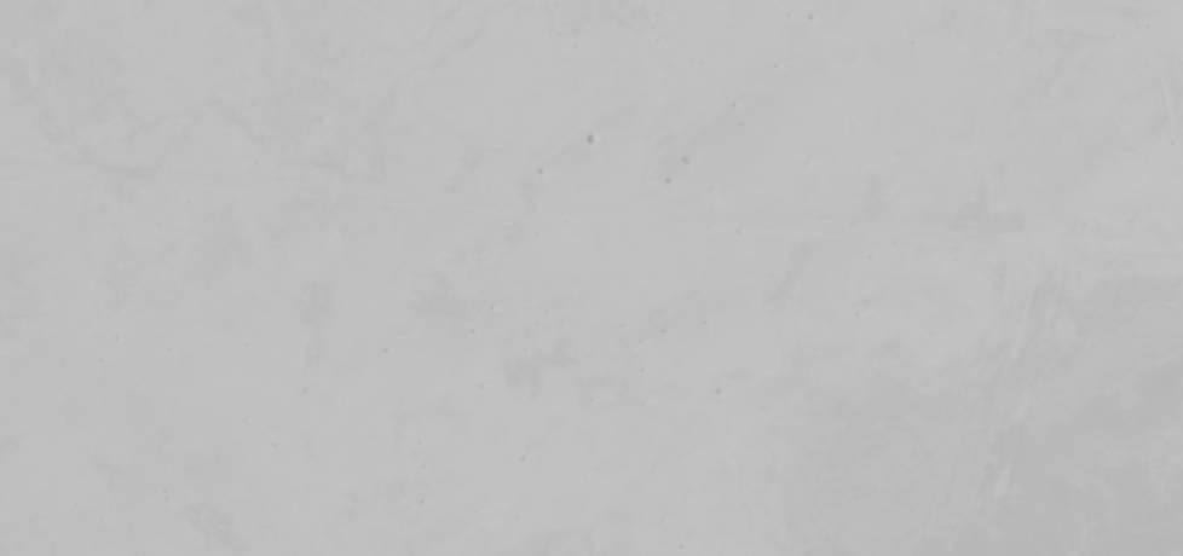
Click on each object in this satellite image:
building: (699, 175)
building: (555, 377)

